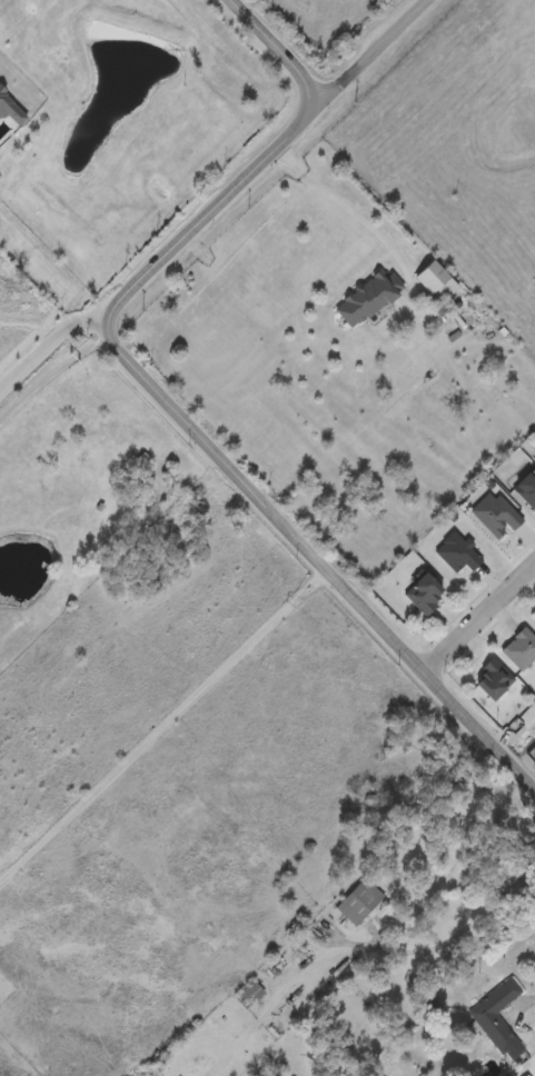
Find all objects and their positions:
road: (271, 50)
road: (374, 50)
building: (12, 111)
road: (346, 207)
building: (436, 282)
building: (368, 300)
road: (48, 345)
road: (51, 372)
road: (206, 451)
building: (525, 486)
building: (454, 550)
building: (420, 591)
building: (534, 617)
road: (477, 619)
building: (518, 647)
building: (489, 677)
road: (160, 726)
building: (360, 904)
road: (462, 930)
building: (250, 995)
road: (517, 1007)
building: (499, 1022)

